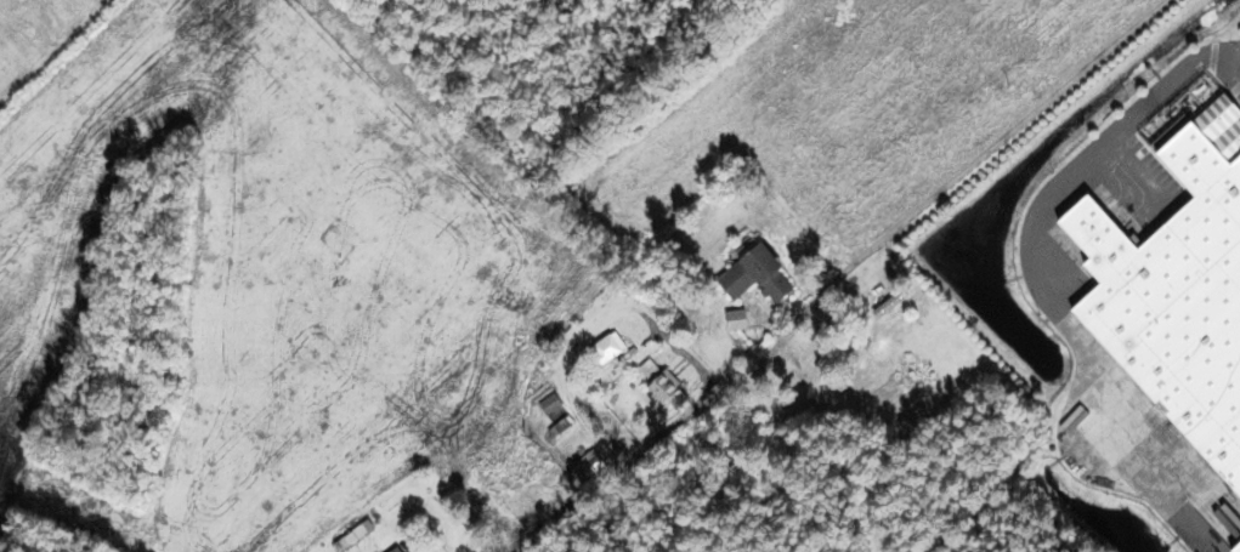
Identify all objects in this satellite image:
road: (1020, 116)
building: (342, 239)
building: (763, 274)
building: (1174, 292)
road: (774, 346)
building: (611, 349)
building: (672, 391)
building: (553, 403)
building: (564, 426)
building: (595, 462)
power tower: (49, 488)
building: (1231, 545)
building: (398, 550)

